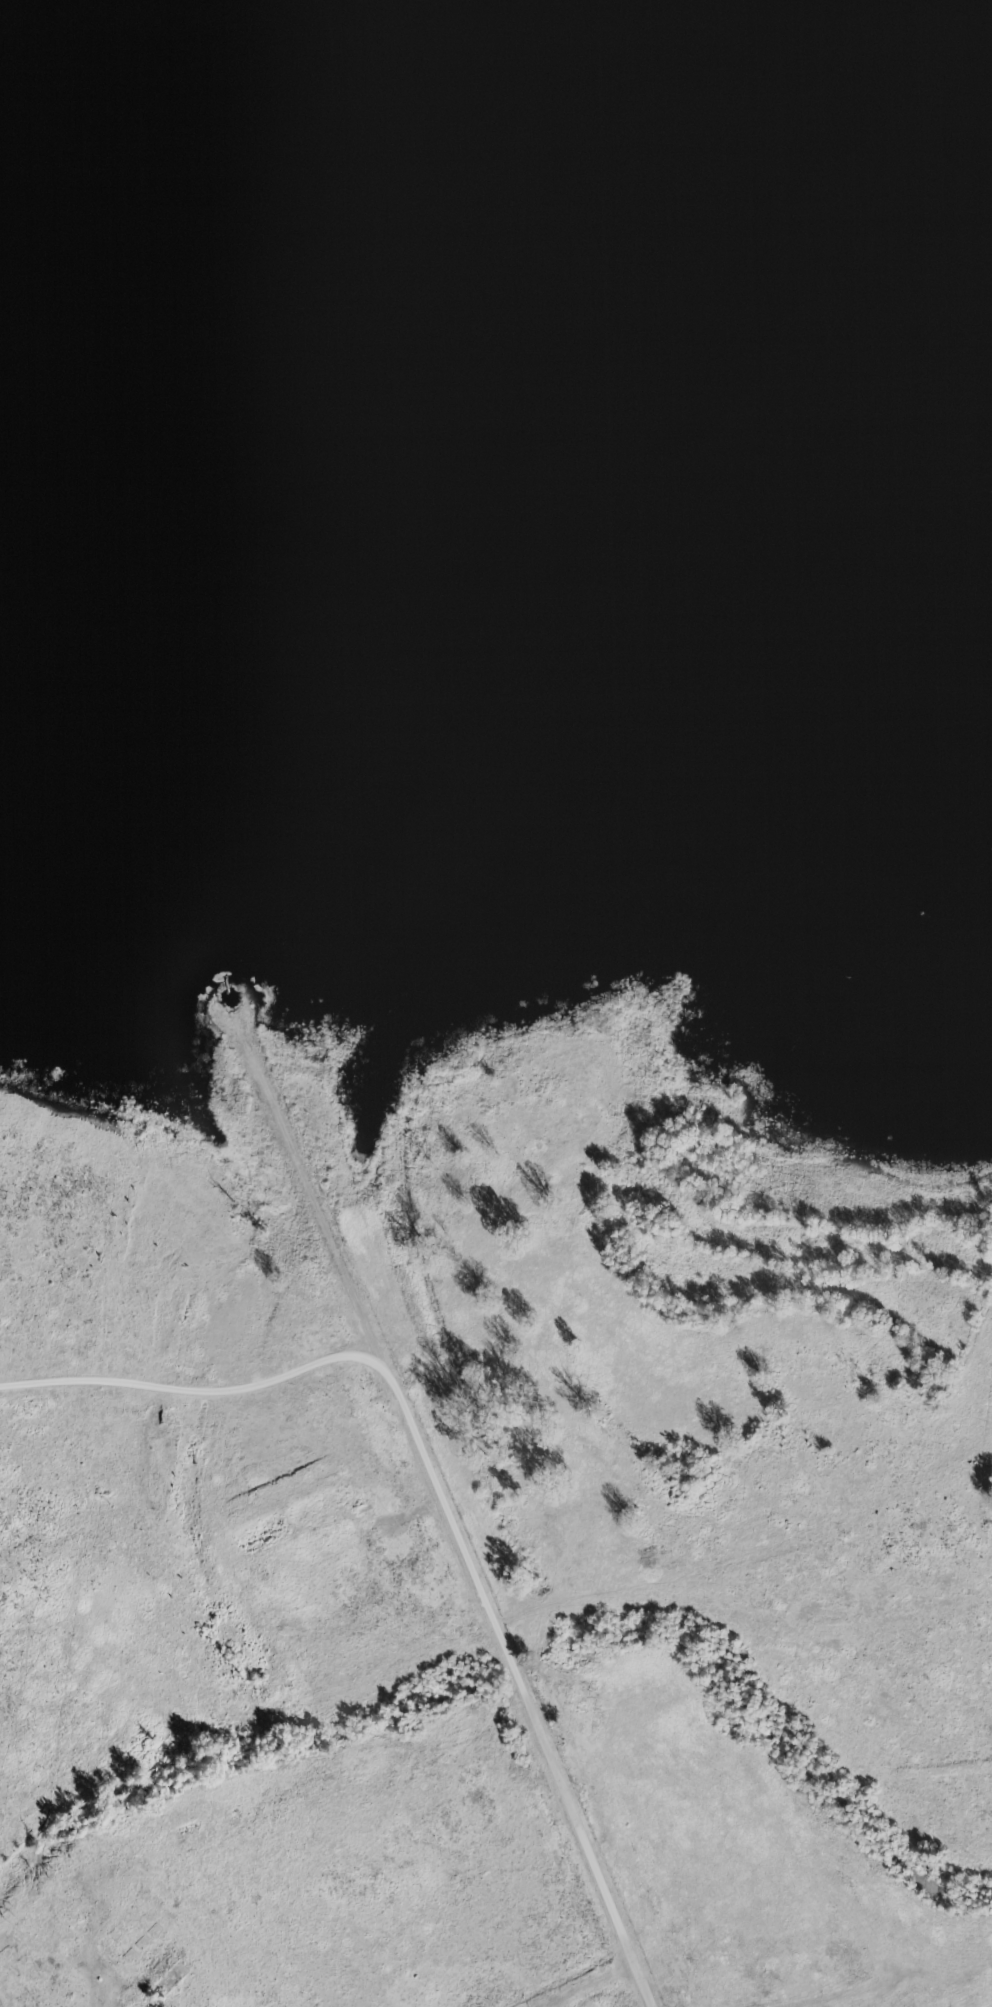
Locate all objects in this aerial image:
road: (556, 1770)

